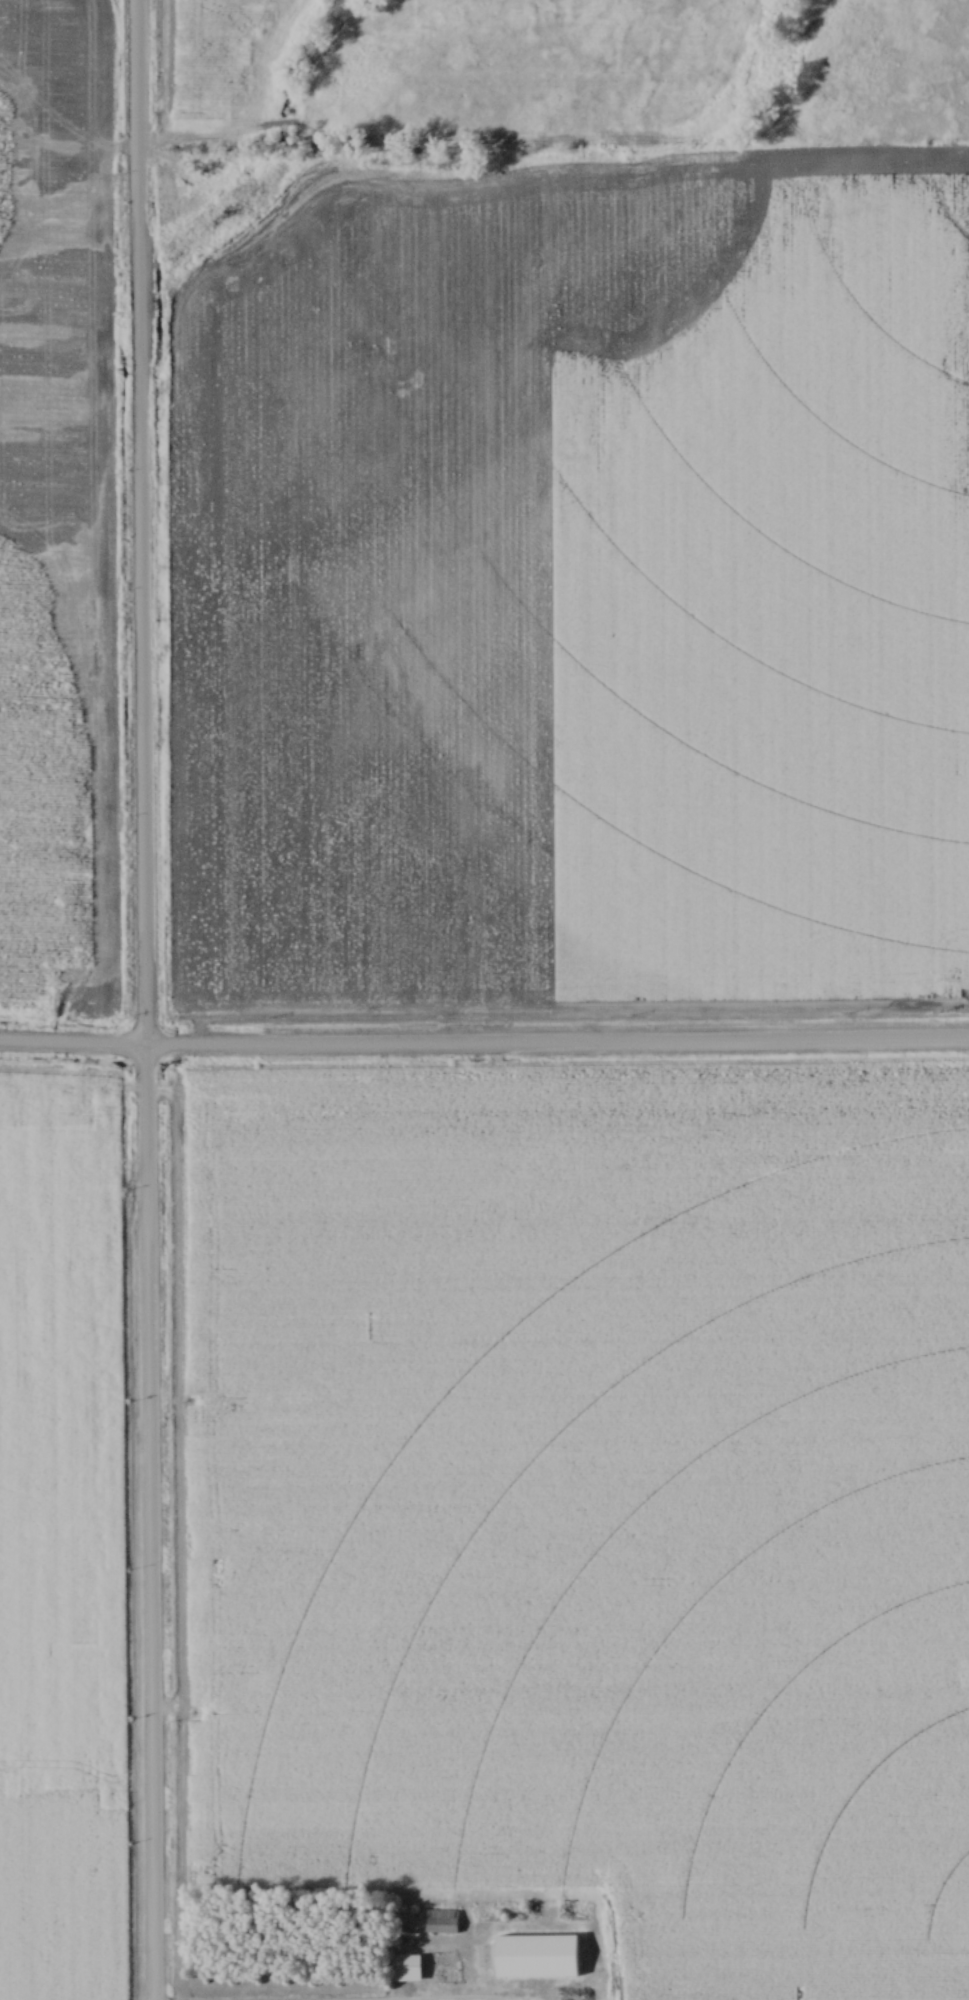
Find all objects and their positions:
road: (143, 999)
road: (484, 1047)
building: (441, 1922)
building: (554, 1965)
building: (406, 1969)
building: (570, 1988)

